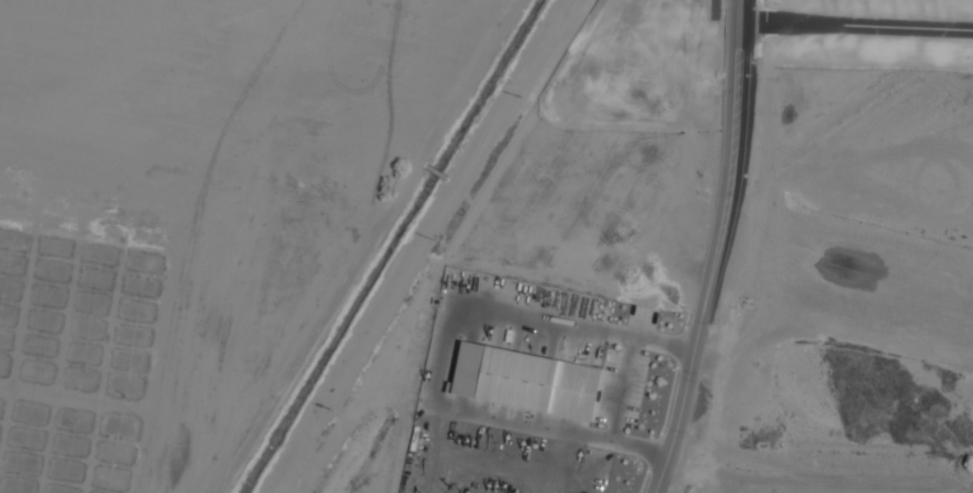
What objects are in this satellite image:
road: (856, 35)
road: (719, 249)
building: (528, 378)

